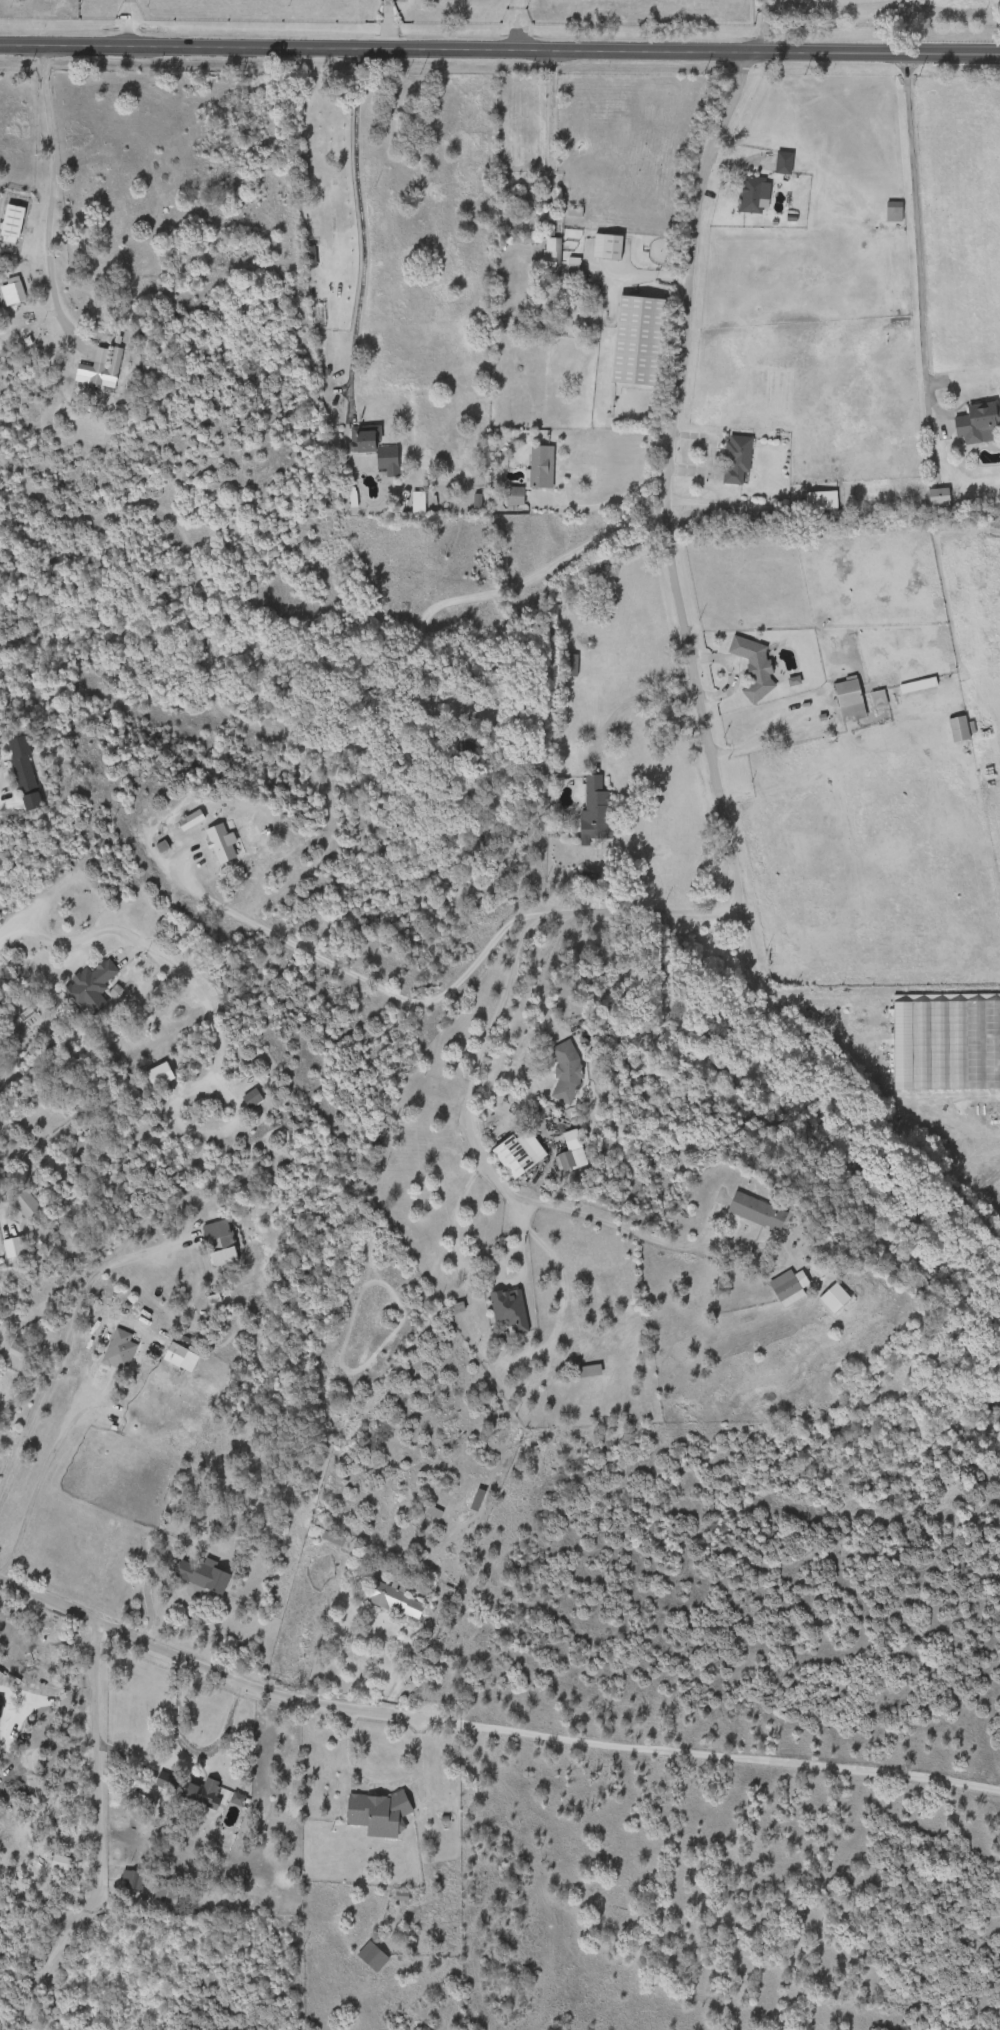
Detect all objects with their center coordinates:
road: (128, 22)
road: (387, 23)
road: (762, 25)
road: (500, 48)
road: (546, 122)
building: (785, 162)
road: (53, 178)
building: (755, 194)
building: (893, 212)
road: (358, 213)
road: (913, 213)
building: (609, 246)
building: (310, 256)
building: (574, 268)
road: (640, 269)
building: (13, 293)
building: (548, 303)
building: (641, 341)
building: (102, 370)
building: (980, 424)
building: (375, 448)
building: (737, 460)
building: (534, 473)
road: (616, 495)
building: (941, 496)
road: (726, 500)
building: (820, 501)
road: (666, 531)
road: (513, 580)
building: (569, 664)
building: (755, 665)
building: (919, 685)
building: (879, 698)
road: (636, 699)
building: (852, 700)
building: (960, 729)
building: (26, 773)
building: (594, 811)
building: (193, 820)
building: (223, 843)
road: (15, 923)
road: (167, 960)
road: (344, 977)
building: (91, 981)
road: (842, 1005)
road: (543, 1015)
road: (475, 1049)
building: (567, 1070)
building: (161, 1074)
building: (253, 1098)
road: (885, 1128)
building: (573, 1151)
building: (521, 1153)
building: (27, 1203)
building: (761, 1210)
building: (222, 1242)
building: (788, 1287)
building: (836, 1298)
building: (461, 1306)
building: (509, 1311)
building: (19, 1346)
road: (62, 1349)
building: (119, 1350)
building: (589, 1370)
road: (35, 1485)
building: (479, 1499)
building: (435, 1511)
building: (334, 1537)
building: (207, 1575)
building: (398, 1600)
road: (490, 1728)
building: (205, 1792)
building: (378, 1810)
road: (92, 1833)
building: (168, 1891)
building: (374, 1955)

